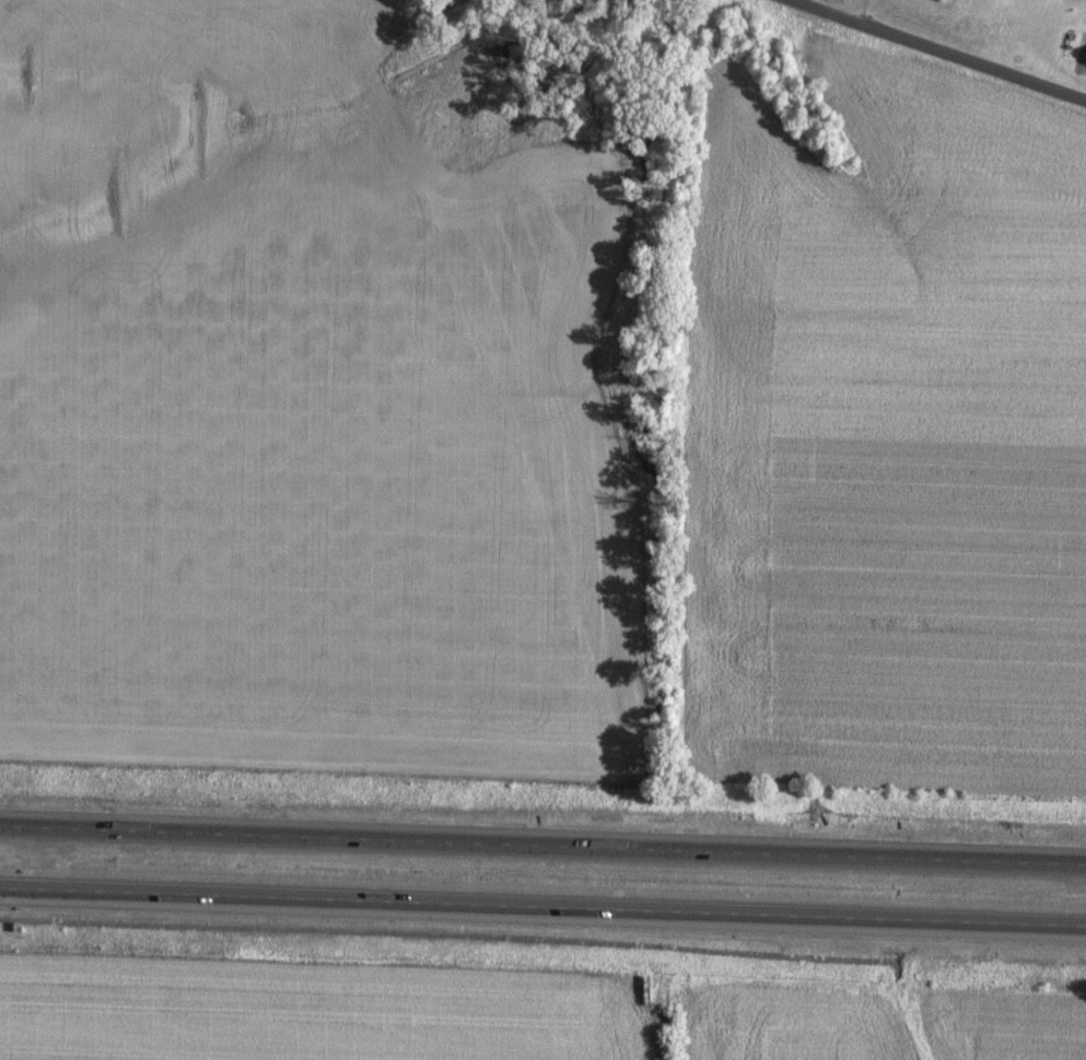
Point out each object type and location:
road: (939, 50)
crop: (100, 114)
crop: (888, 433)
crop: (324, 470)
road: (542, 844)
road: (542, 906)
crop: (300, 1016)
crop: (1005, 1029)

